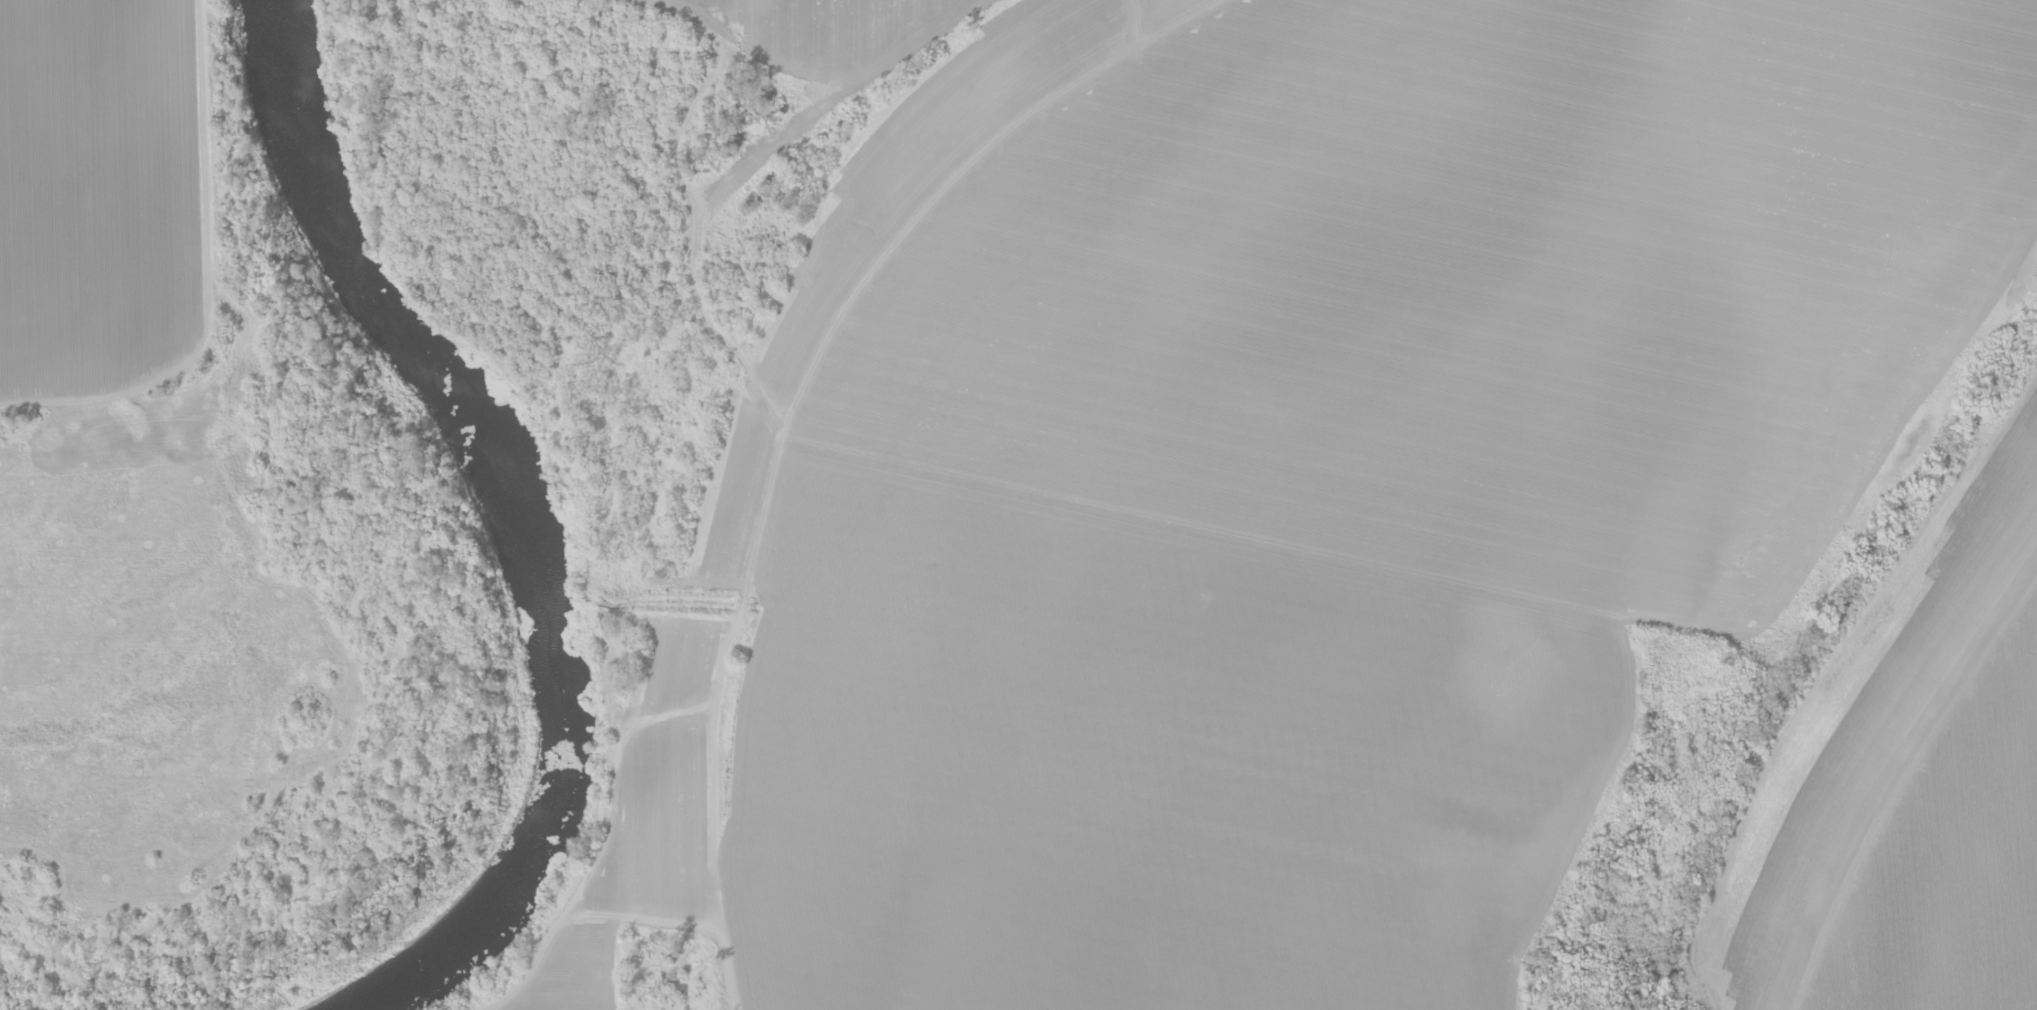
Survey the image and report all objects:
river: (521, 518)

